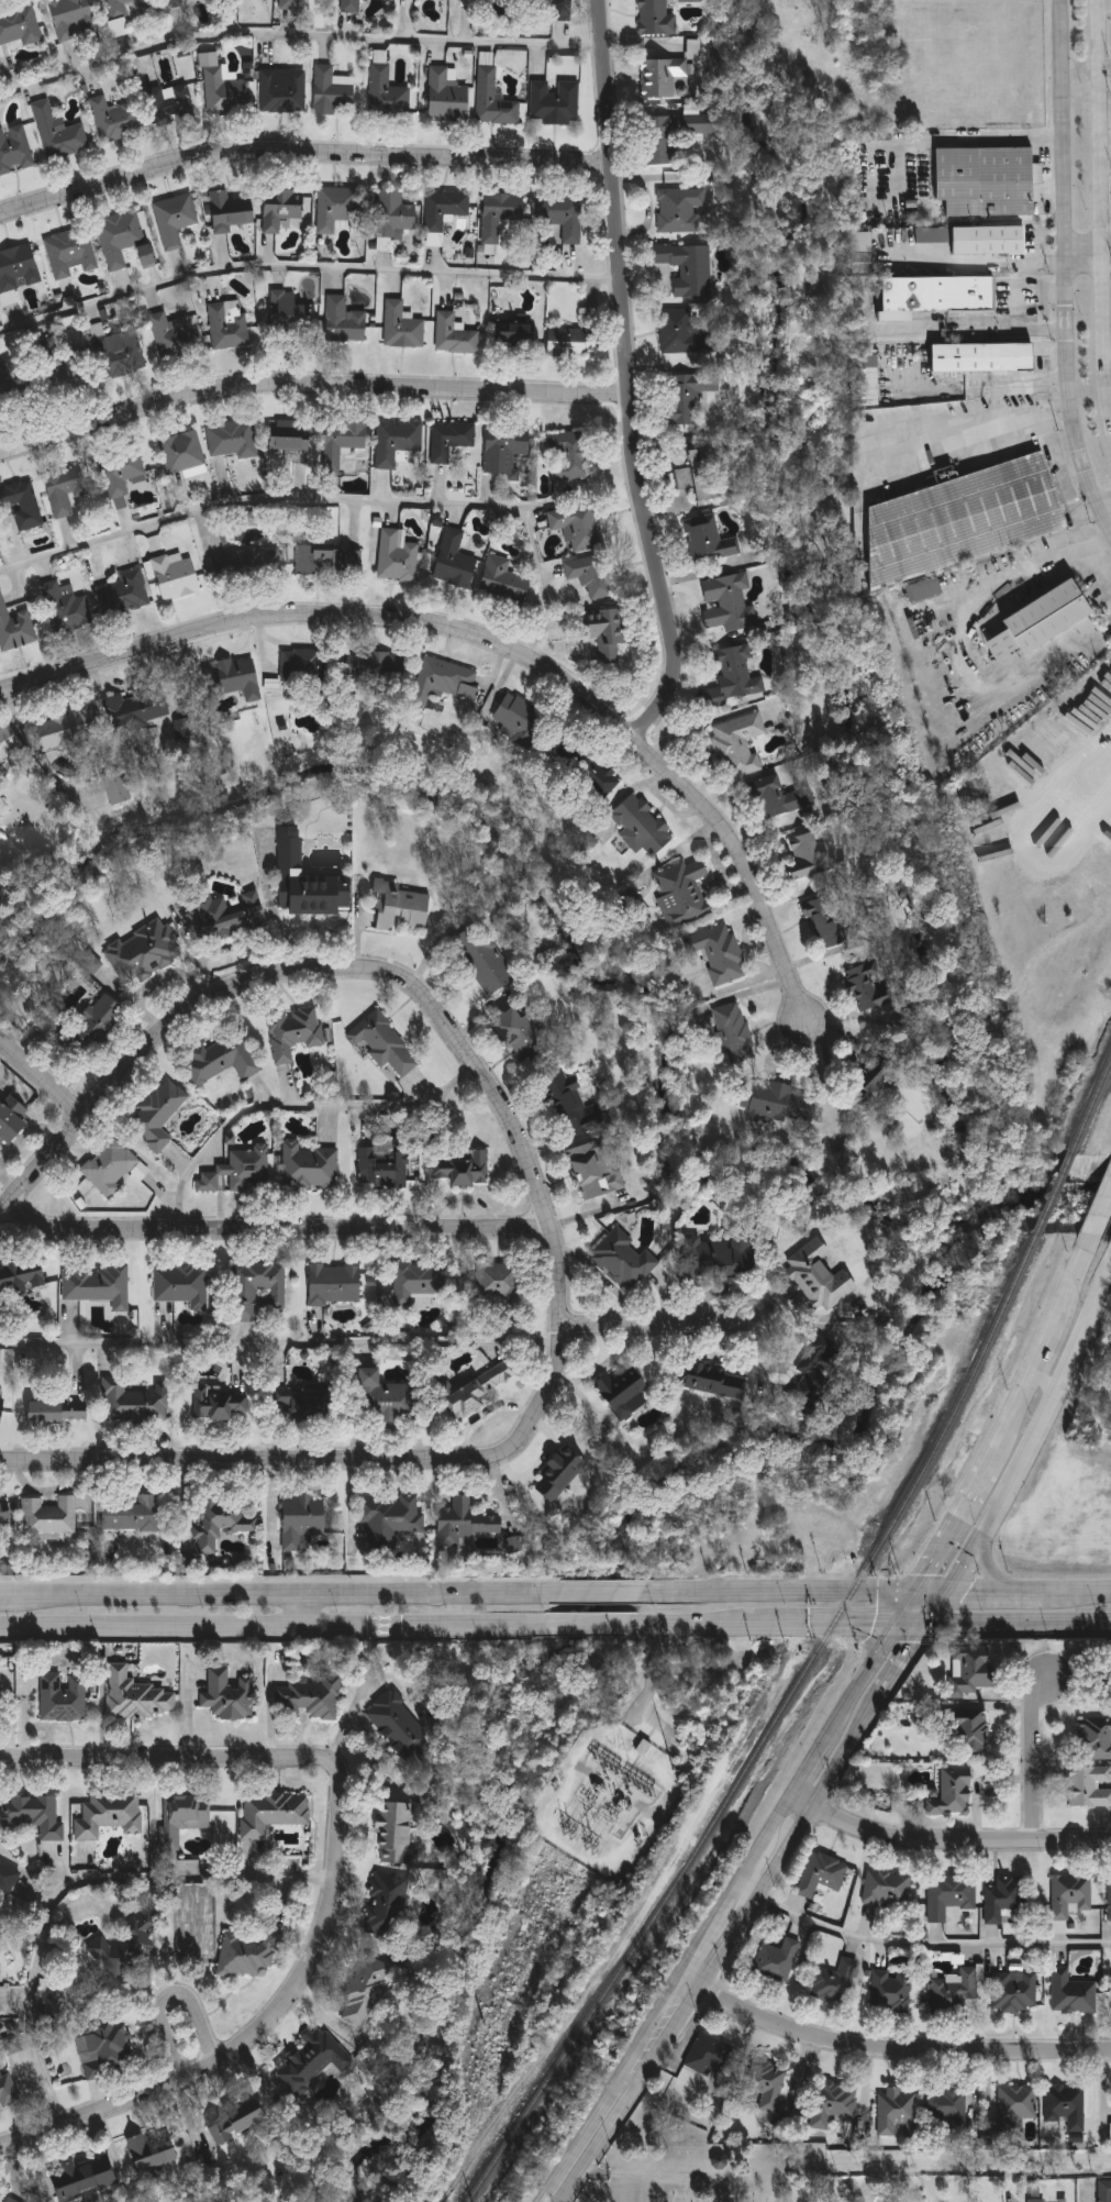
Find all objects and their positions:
building: (171, 2)
building: (291, 4)
building: (127, 7)
building: (352, 7)
building: (556, 10)
building: (659, 18)
building: (74, 19)
building: (19, 27)
road: (298, 33)
building: (693, 49)
building: (663, 77)
building: (284, 91)
building: (332, 91)
building: (388, 96)
building: (448, 97)
building: (237, 99)
building: (495, 101)
building: (174, 102)
building: (556, 103)
building: (115, 120)
building: (701, 124)
building: (59, 134)
road: (1001, 136)
building: (659, 140)
building: (14, 150)
road: (301, 155)
building: (989, 181)
building: (337, 208)
building: (282, 209)
building: (445, 209)
building: (680, 210)
building: (232, 211)
road: (1101, 211)
building: (396, 215)
building: (498, 215)
building: (564, 217)
building: (176, 220)
building: (933, 234)
building: (124, 240)
building: (999, 241)
building: (71, 252)
building: (860, 252)
road: (969, 257)
road: (1086, 257)
road: (305, 264)
building: (19, 268)
building: (689, 268)
road: (1063, 270)
building: (942, 294)
building: (290, 310)
building: (345, 322)
building: (224, 325)
building: (403, 327)
road: (1016, 330)
building: (515, 334)
building: (455, 335)
building: (684, 335)
building: (174, 336)
building: (575, 342)
road: (1108, 347)
building: (123, 354)
building: (980, 356)
building: (70, 370)
road: (627, 379)
building: (11, 380)
road: (310, 387)
building: (687, 396)
building: (234, 440)
building: (291, 440)
building: (452, 440)
building: (344, 441)
building: (399, 444)
building: (507, 450)
building: (184, 453)
building: (571, 456)
building: (122, 475)
building: (698, 475)
building: (66, 490)
road: (335, 497)
building: (22, 505)
road: (1106, 511)
building: (967, 518)
building: (579, 527)
building: (709, 540)
building: (398, 557)
building: (330, 561)
building: (456, 562)
building: (248, 565)
road: (1097, 565)
building: (592, 575)
building: (177, 578)
building: (507, 583)
building: (926, 590)
building: (125, 594)
building: (729, 602)
road: (975, 606)
building: (67, 608)
building: (1045, 621)
building: (15, 628)
building: (607, 633)
road: (495, 644)
building: (304, 666)
building: (379, 668)
building: (735, 676)
building: (233, 678)
building: (446, 682)
building: (137, 709)
building: (521, 720)
building: (182, 727)
building: (70, 728)
building: (9, 743)
building: (741, 744)
building: (587, 768)
road: (1090, 770)
building: (118, 788)
building: (1, 793)
building: (776, 798)
building: (1, 806)
building: (642, 826)
building: (809, 857)
building: (309, 882)
building: (684, 893)
building: (399, 907)
building: (231, 915)
building: (825, 923)
building: (144, 952)
building: (720, 953)
building: (485, 960)
road: (354, 965)
building: (869, 987)
building: (46, 1019)
building: (92, 1027)
building: (295, 1032)
building: (735, 1032)
building: (522, 1037)
building: (384, 1044)
building: (225, 1056)
road: (42, 1081)
building: (877, 1082)
building: (778, 1103)
railway: (1090, 1103)
road: (297, 1105)
building: (575, 1106)
building: (158, 1116)
building: (11, 1119)
building: (111, 1166)
building: (310, 1168)
building: (382, 1169)
building: (460, 1170)
building: (595, 1171)
building: (241, 1172)
railway: (1053, 1191)
road: (1098, 1220)
road: (277, 1230)
building: (718, 1258)
building: (624, 1259)
building: (22, 1276)
building: (819, 1276)
building: (418, 1281)
building: (182, 1284)
building: (98, 1285)
building: (335, 1285)
road: (1069, 1285)
building: (260, 1290)
building: (498, 1293)
road: (664, 1327)
road: (281, 1342)
road: (1043, 1347)
building: (816, 1372)
building: (715, 1380)
road: (1044, 1382)
building: (484, 1387)
building: (624, 1393)
building: (388, 1399)
building: (134, 1403)
building: (305, 1404)
building: (222, 1405)
building: (2, 1407)
road: (1049, 1407)
building: (59, 1412)
road: (1006, 1425)
road: (325, 1462)
building: (560, 1474)
building: (5, 1516)
building: (51, 1516)
building: (134, 1516)
building: (389, 1519)
building: (303, 1522)
building: (222, 1523)
building: (466, 1524)
road: (951, 1530)
building: (512, 1545)
road: (965, 1564)
road: (992, 1571)
traffic signals: (921, 1585)
road: (936, 1585)
traffic signals: (952, 1585)
road: (1081, 1587)
road: (1001, 1589)
road: (782, 1590)
road: (595, 1592)
road: (7, 1598)
road: (279, 1598)
road: (909, 1602)
road: (938, 1603)
road: (316, 1612)
road: (824, 1619)
traffic signals: (898, 1619)
road: (911, 1619)
road: (1018, 1619)
road: (690, 1620)
traffic signals: (925, 1620)
road: (585, 1623)
road: (269, 1625)
building: (971, 1674)
building: (1108, 1679)
road: (863, 1680)
building: (0, 1690)
building: (138, 1695)
building: (231, 1695)
building: (64, 1696)
building: (310, 1698)
building: (398, 1724)
railway: (771, 1727)
building: (970, 1734)
building: (1096, 1736)
building: (644, 1747)
road: (1035, 1757)
road: (811, 1769)
building: (1090, 1786)
building: (953, 1793)
power substation: (609, 1800)
road: (811, 1808)
building: (274, 1812)
building: (35, 1815)
building: (110, 1815)
building: (185, 1816)
road: (778, 1822)
building: (396, 1833)
road: (947, 1841)
road: (752, 1866)
building: (189, 1867)
building: (823, 1874)
building: (8, 1878)
road: (74, 1882)
road: (332, 1882)
building: (888, 1889)
road: (751, 1890)
building: (951, 1895)
building: (1071, 1895)
building: (1008, 1901)
building: (1110, 1901)
building: (0, 1906)
building: (387, 1908)
building: (1059, 1927)
road: (710, 1935)
road: (931, 1943)
building: (126, 1948)
building: (249, 1956)
building: (777, 1961)
building: (835, 1983)
building: (366, 1991)
building: (892, 1991)
road: (171, 1992)
building: (957, 1992)
building: (1015, 1992)
building: (1074, 1993)
building: (1, 2000)
building: (11, 2044)
building: (105, 2046)
road: (895, 2051)
building: (710, 2056)
building: (315, 2060)
building: (766, 2085)
building: (9, 2091)
road: (619, 2095)
building: (833, 2104)
building: (1019, 2104)
building: (948, 2106)
building: (1066, 2106)
building: (899, 2113)
building: (240, 2122)
building: (155, 2150)
park: (793, 2171)
park: (711, 2178)
building: (86, 2179)
building: (1106, 2191)
building: (1064, 2200)
building: (22, 2201)
building: (1038, 2201)

